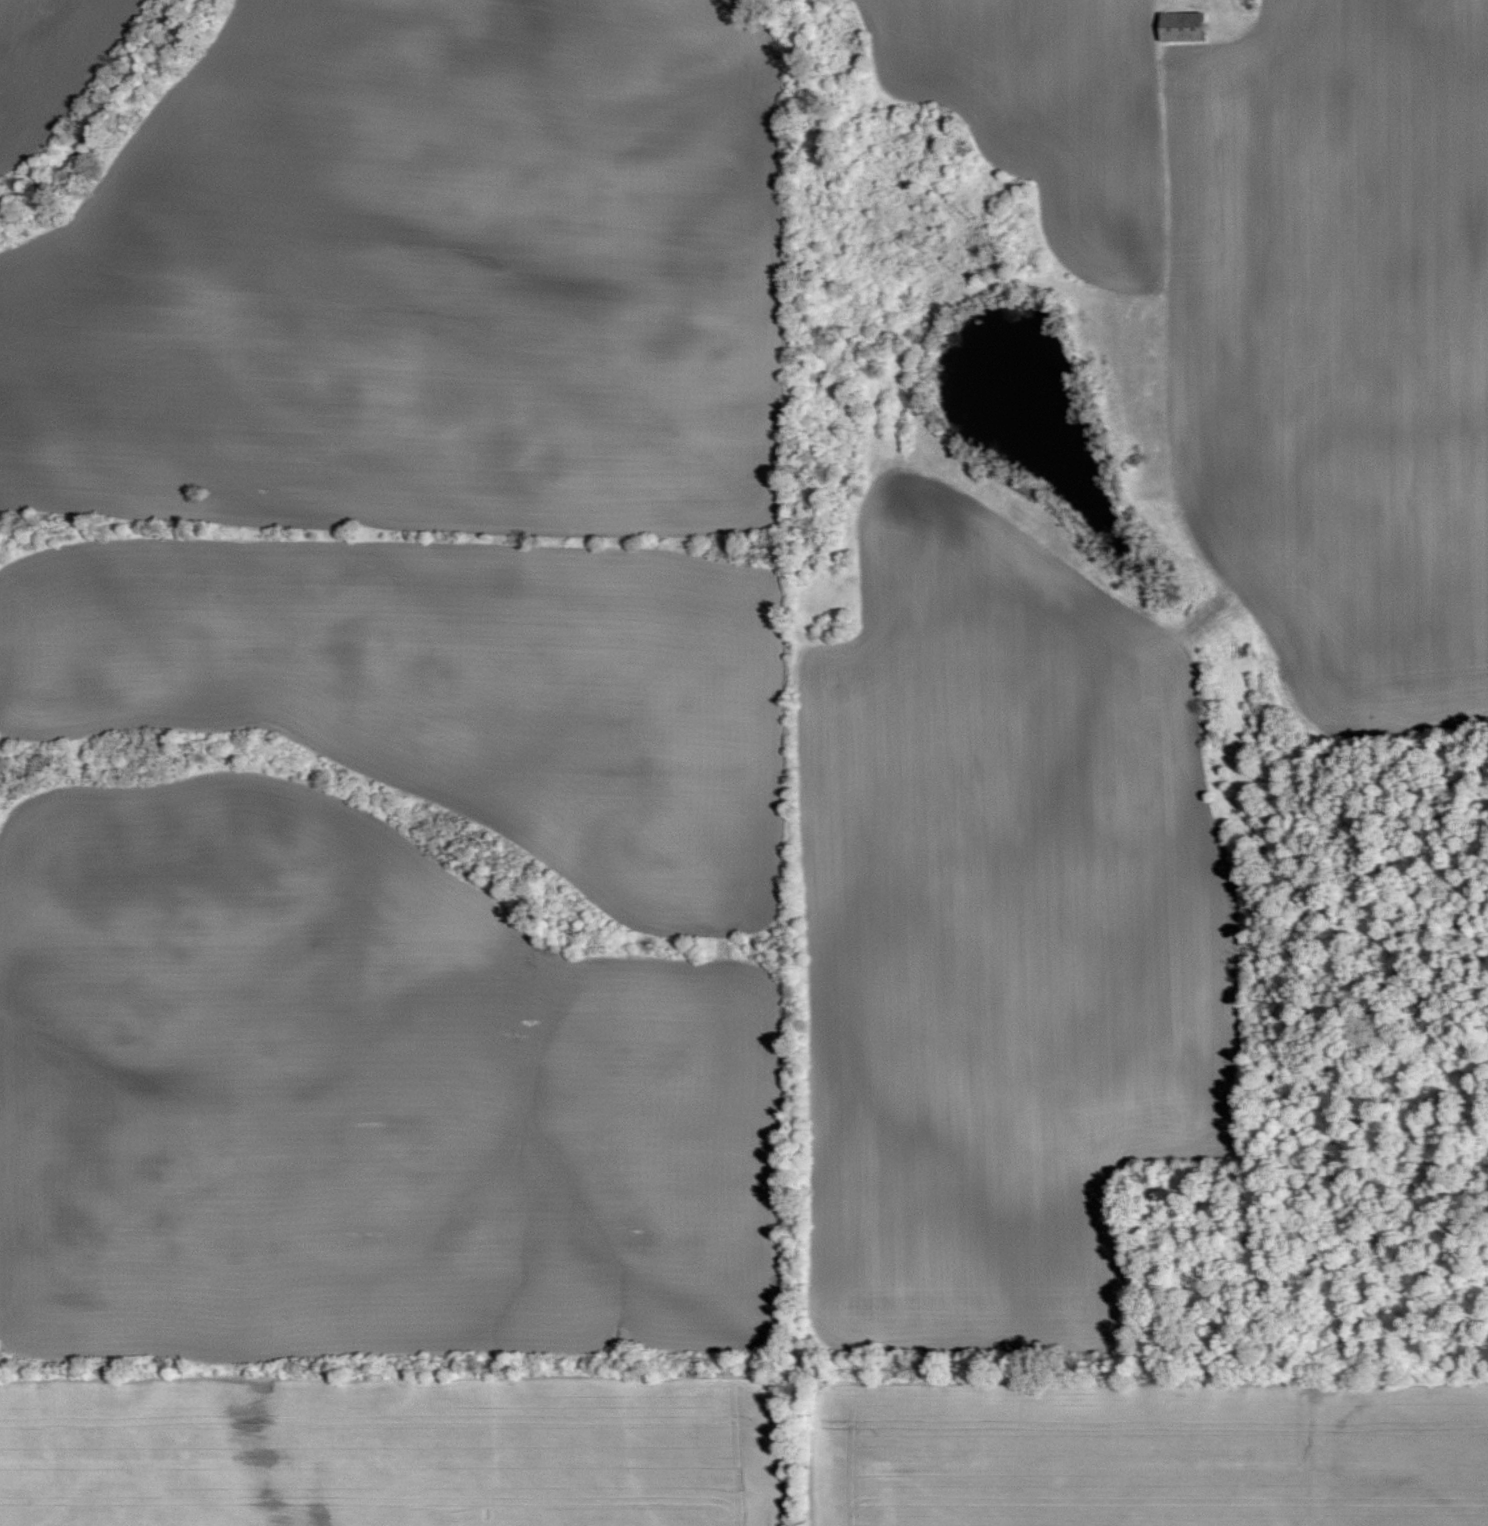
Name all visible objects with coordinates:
building: (1179, 27)

